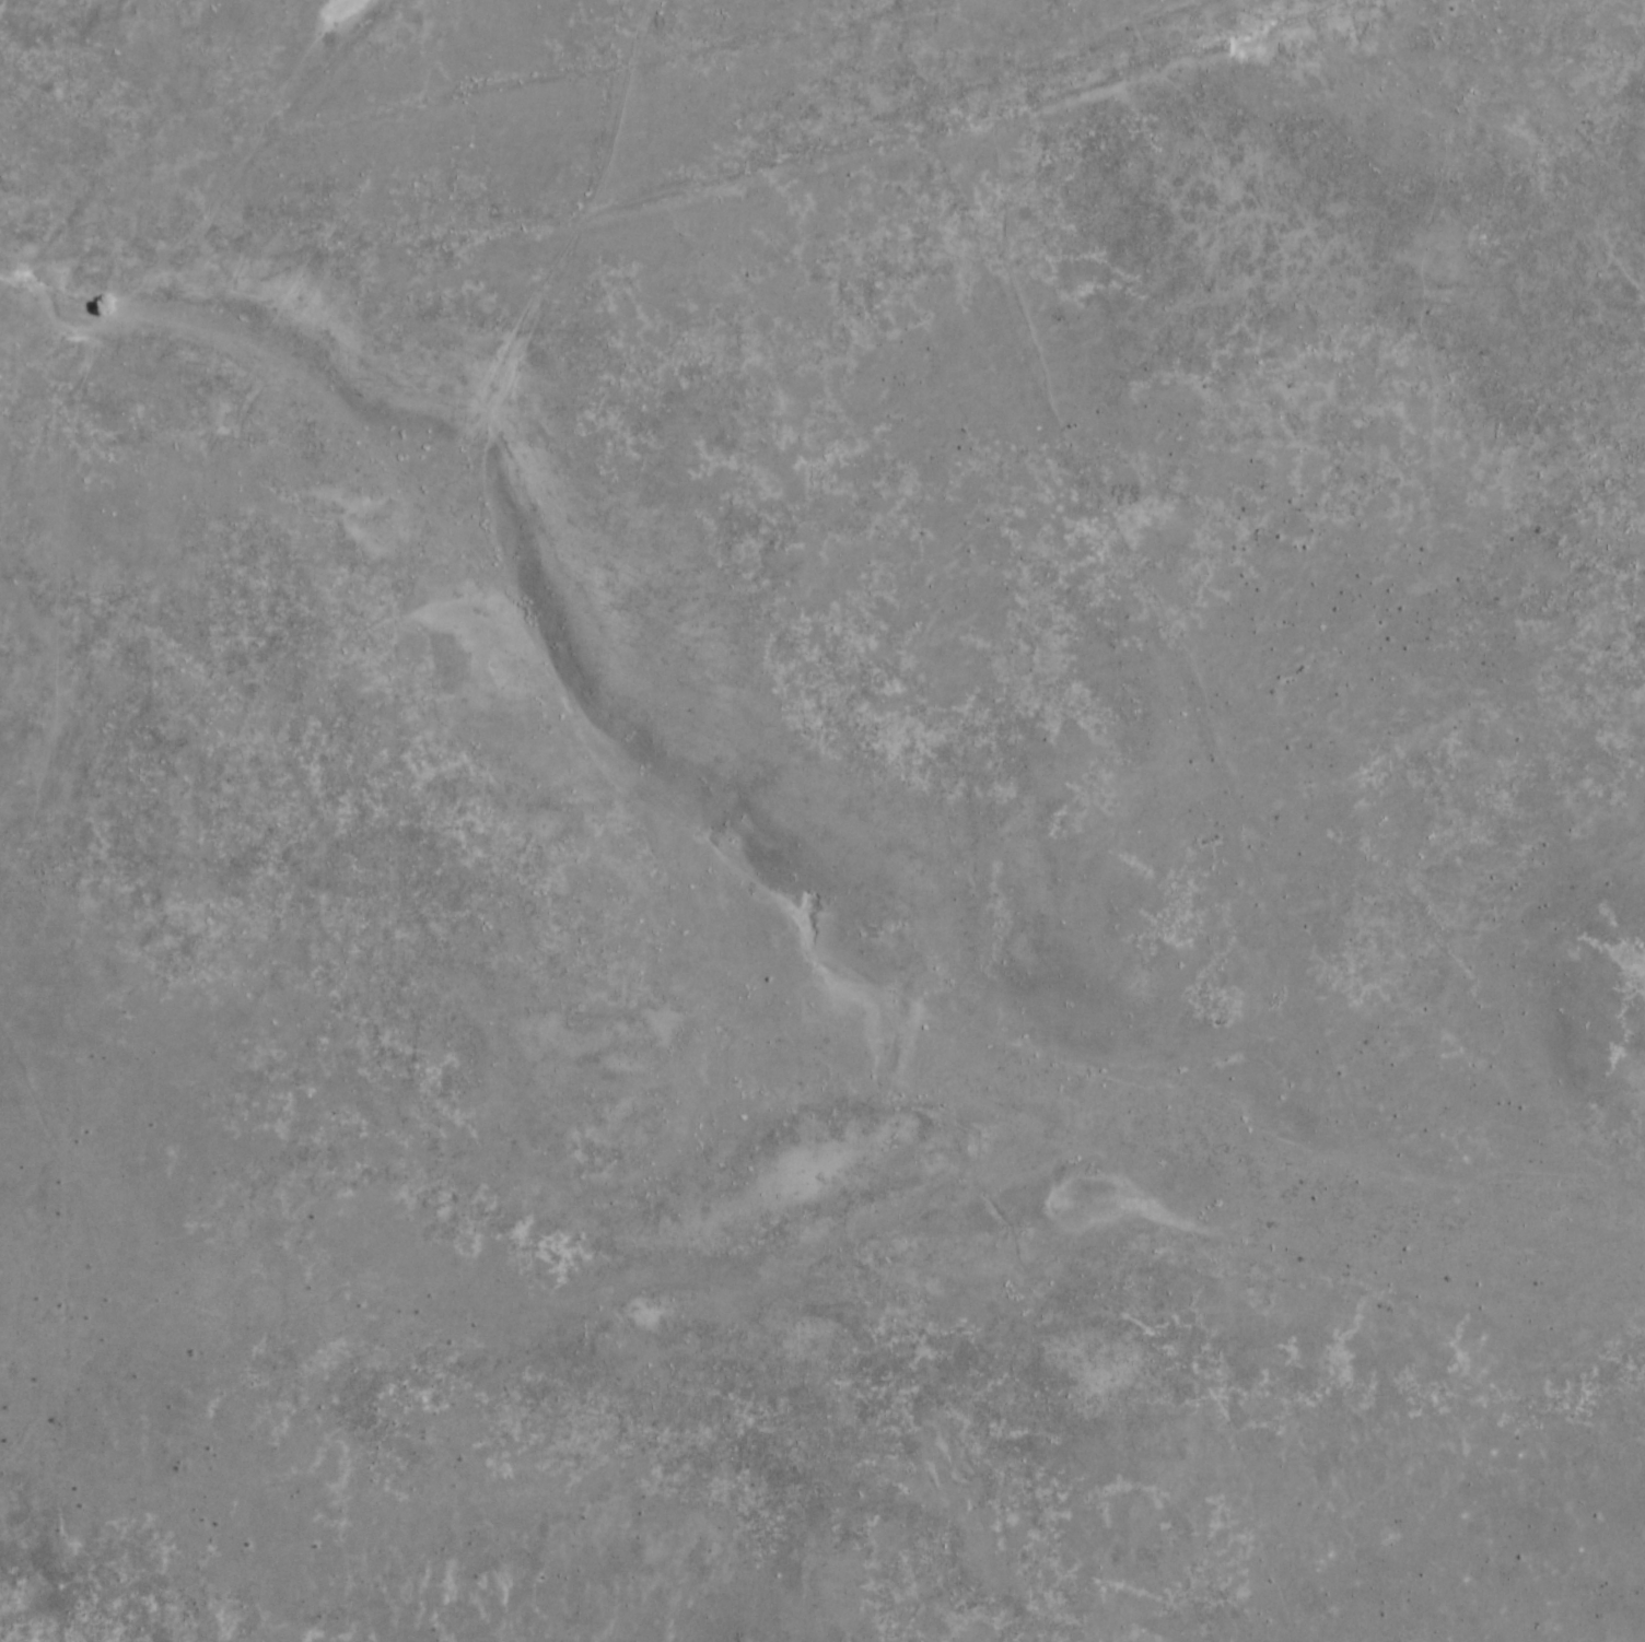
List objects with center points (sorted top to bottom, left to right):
road: (640, 113)
road: (220, 157)
road: (637, 225)
road: (166, 876)

